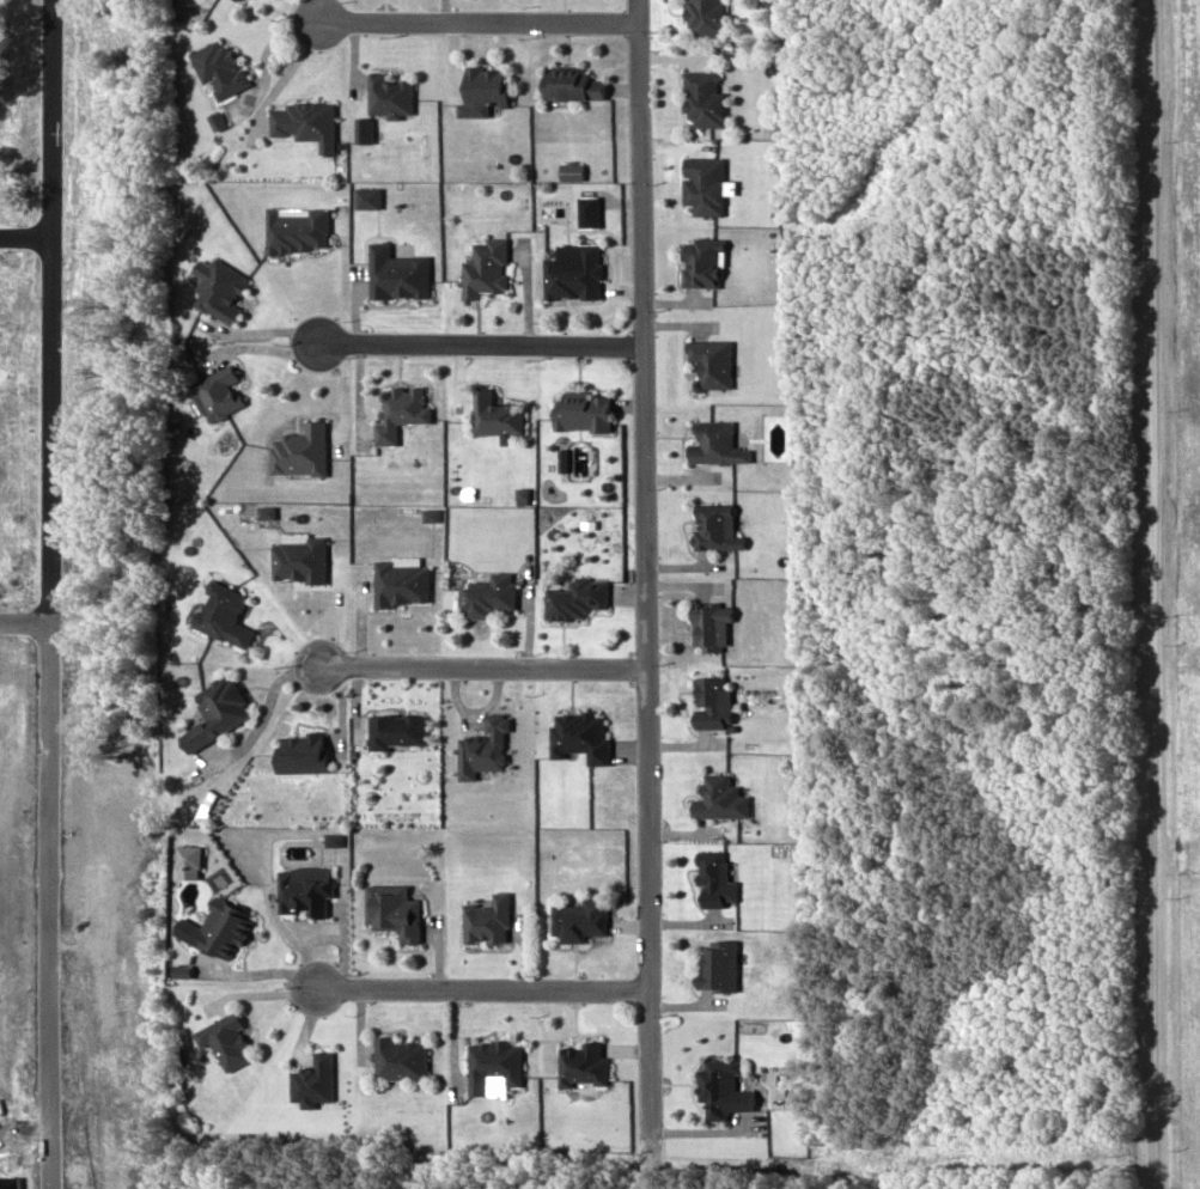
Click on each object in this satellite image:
building: (703, 16)
road: (475, 19)
building: (219, 67)
building: (567, 83)
building: (483, 85)
building: (389, 93)
building: (702, 97)
building: (305, 121)
building: (701, 183)
building: (297, 228)
building: (700, 262)
building: (483, 268)
building: (396, 273)
building: (571, 274)
building: (221, 288)
road: (477, 342)
building: (709, 360)
building: (218, 391)
building: (400, 409)
building: (578, 410)
building: (493, 414)
building: (714, 443)
building: (299, 449)
building: (712, 526)
building: (299, 556)
road: (642, 565)
building: (401, 580)
building: (489, 594)
road: (1149, 594)
building: (575, 596)
building: (223, 612)
building: (708, 624)
road: (482, 666)
building: (709, 702)
building: (218, 711)
building: (397, 730)
building: (580, 733)
building: (485, 748)
building: (303, 751)
building: (718, 797)
building: (712, 879)
building: (305, 890)
building: (395, 910)
building: (579, 919)
building: (488, 920)
building: (223, 927)
building: (717, 965)
road: (480, 987)
building: (226, 1039)
building: (401, 1057)
building: (493, 1062)
building: (581, 1063)
building: (312, 1079)
building: (721, 1086)

